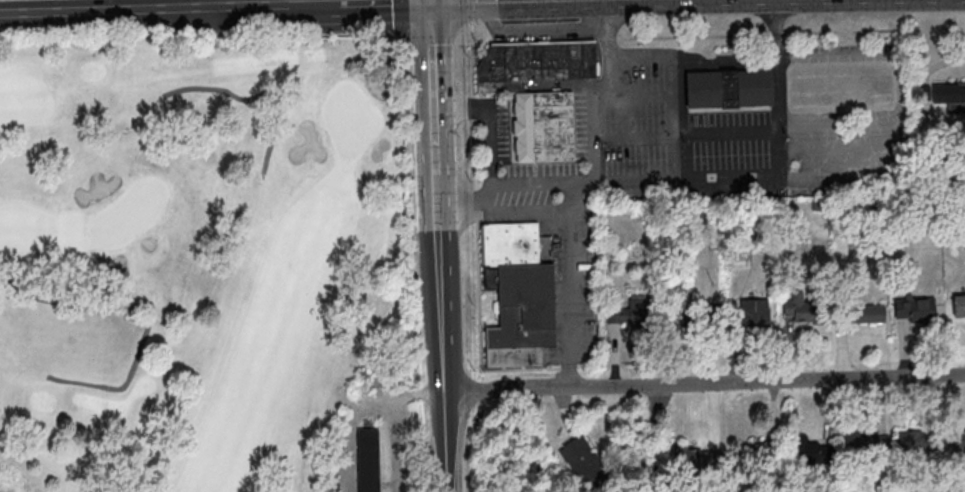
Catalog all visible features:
road: (501, 0)
road: (430, 1)
traffic signals: (431, 2)
road: (173, 4)
road: (209, 4)
road: (354, 4)
road: (89, 5)
road: (263, 6)
road: (124, 10)
road: (547, 32)
road: (677, 58)
building: (532, 64)
road: (432, 87)
building: (728, 88)
building: (945, 92)
road: (597, 115)
road: (779, 117)
building: (542, 126)
road: (488, 136)
road: (829, 176)
road: (436, 195)
road: (570, 199)
road: (571, 233)
park: (205, 267)
road: (439, 285)
building: (518, 295)
building: (959, 305)
building: (915, 309)
building: (806, 310)
building: (633, 311)
building: (736, 313)
building: (867, 313)
road: (704, 383)
road: (419, 394)
road: (443, 423)
building: (920, 440)
building: (959, 440)
building: (866, 441)
road: (397, 445)
building: (810, 450)
building: (755, 454)
building: (696, 458)
building: (368, 460)
building: (582, 461)

